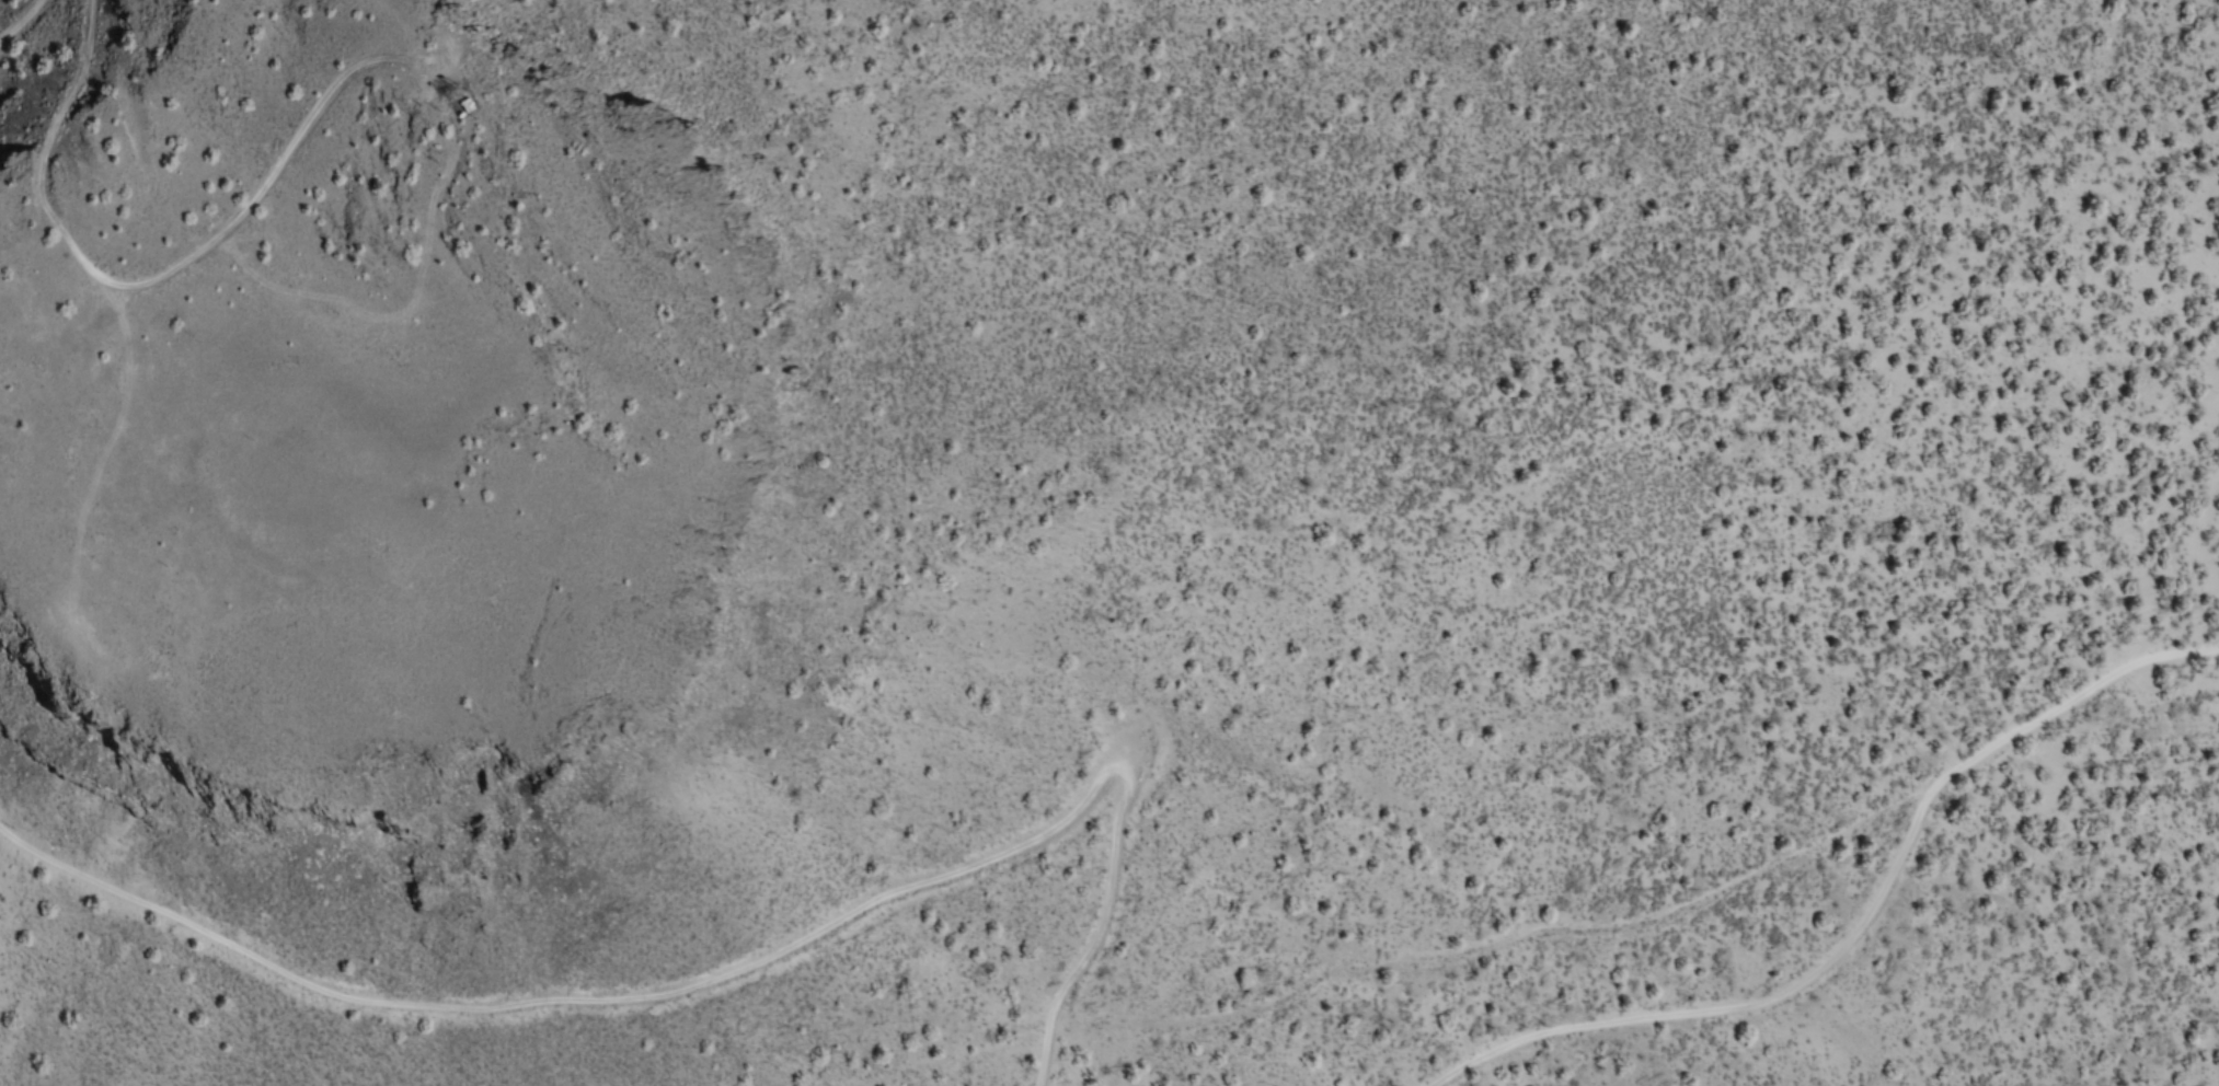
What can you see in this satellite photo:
road: (22, 31)
road: (159, 266)
road: (4, 867)
road: (1853, 928)
road: (731, 968)

